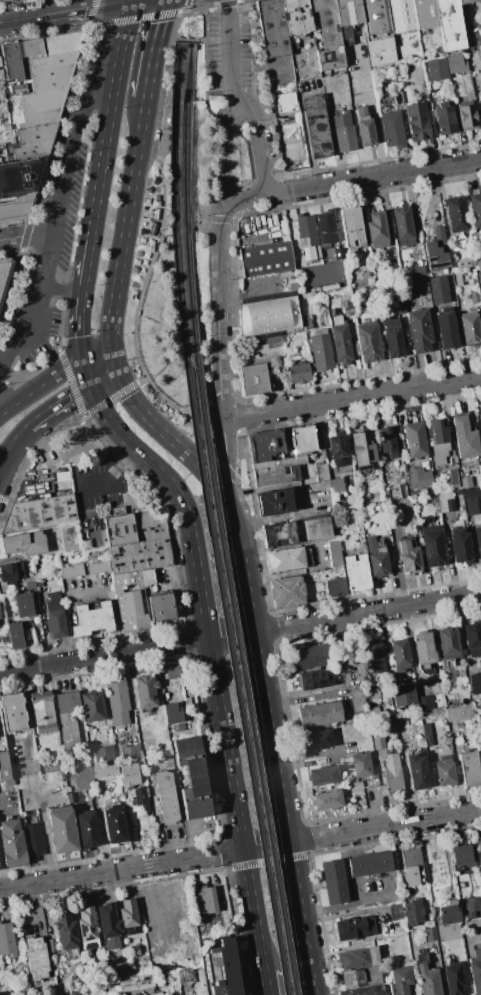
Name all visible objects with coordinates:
building: (1, 0)
traffic signals: (136, 0)
building: (480, 0)
road: (186, 4)
road: (95, 8)
building: (471, 8)
road: (68, 11)
building: (463, 12)
building: (425, 14)
building: (401, 15)
building: (297, 16)
road: (142, 17)
building: (346, 18)
building: (450, 25)
road: (96, 26)
road: (206, 26)
building: (273, 28)
building: (377, 31)
building: (327, 35)
road: (185, 39)
road: (153, 47)
building: (37, 51)
road: (261, 59)
building: (456, 64)
building: (436, 69)
parking lot: (236, 72)
road: (167, 84)
building: (41, 87)
building: (396, 98)
road: (237, 100)
building: (480, 105)
road: (372, 110)
building: (467, 113)
road: (107, 118)
building: (445, 119)
road: (62, 121)
building: (417, 122)
building: (316, 126)
building: (365, 126)
building: (392, 129)
road: (304, 130)
building: (344, 132)
building: (33, 142)
road: (72, 148)
railway: (173, 162)
railway: (185, 162)
road: (253, 174)
road: (373, 177)
road: (264, 181)
building: (19, 185)
road: (246, 200)
building: (475, 209)
building: (457, 214)
building: (351, 226)
building: (403, 226)
building: (325, 228)
road: (123, 230)
building: (306, 230)
building: (377, 230)
road: (28, 235)
road: (26, 236)
building: (437, 251)
building: (336, 252)
building: (266, 259)
building: (478, 264)
road: (84, 265)
building: (385, 270)
building: (418, 271)
building: (361, 272)
building: (4, 274)
building: (450, 278)
building: (369, 281)
building: (416, 285)
road: (12, 288)
road: (60, 289)
building: (439, 290)
building: (474, 296)
railway: (179, 300)
railway: (190, 300)
road: (36, 303)
building: (346, 303)
building: (400, 307)
road: (218, 312)
building: (267, 316)
road: (77, 325)
building: (470, 329)
building: (418, 330)
building: (447, 331)
building: (393, 338)
building: (340, 342)
building: (368, 342)
building: (320, 350)
road: (50, 353)
traffic signals: (81, 361)
road: (97, 361)
traffic signals: (114, 362)
building: (299, 373)
traffic signals: (87, 380)
building: (256, 380)
road: (70, 381)
road: (40, 384)
road: (2, 385)
road: (67, 392)
road: (112, 396)
road: (351, 397)
road: (1, 406)
road: (1, 413)
building: (479, 420)
building: (465, 437)
road: (10, 440)
building: (415, 440)
building: (438, 440)
building: (302, 441)
building: (387, 442)
road: (208, 443)
building: (263, 445)
building: (338, 449)
road: (224, 450)
building: (363, 451)
road: (29, 459)
building: (275, 470)
building: (321, 472)
road: (109, 475)
building: (419, 477)
building: (453, 478)
road: (211, 481)
building: (465, 482)
parking lot: (98, 484)
road: (171, 485)
building: (336, 486)
building: (402, 491)
road: (3, 501)
building: (274, 502)
building: (445, 502)
building: (473, 504)
building: (39, 513)
road: (279, 515)
building: (133, 526)
building: (317, 528)
building: (278, 533)
building: (70, 538)
building: (478, 540)
building: (25, 543)
building: (460, 545)
building: (432, 546)
building: (334, 554)
building: (139, 555)
building: (376, 557)
building: (408, 557)
building: (285, 560)
building: (97, 566)
building: (11, 571)
building: (70, 571)
building: (357, 573)
building: (147, 577)
building: (26, 584)
building: (335, 586)
building: (287, 591)
road: (111, 596)
building: (130, 601)
building: (24, 604)
building: (161, 608)
road: (366, 612)
building: (55, 616)
building: (0, 617)
building: (92, 619)
road: (229, 634)
building: (12, 635)
building: (473, 639)
building: (447, 643)
building: (424, 648)
road: (103, 654)
building: (399, 654)
building: (310, 656)
building: (372, 658)
building: (171, 672)
building: (317, 678)
railway: (233, 679)
railway: (242, 679)
building: (475, 682)
building: (145, 691)
building: (403, 696)
building: (117, 701)
building: (425, 703)
building: (480, 704)
building: (42, 711)
building: (92, 711)
building: (14, 712)
building: (458, 712)
building: (172, 714)
building: (319, 714)
building: (69, 722)
building: (426, 733)
building: (109, 739)
building: (315, 740)
building: (378, 743)
building: (150, 744)
building: (131, 753)
building: (102, 755)
building: (360, 764)
building: (4, 767)
building: (104, 769)
building: (469, 769)
building: (417, 771)
building: (444, 774)
building: (129, 775)
building: (322, 776)
building: (191, 777)
building: (392, 779)
building: (166, 797)
building: (140, 800)
building: (325, 800)
road: (234, 805)
road: (282, 812)
building: (130, 818)
building: (114, 825)
road: (383, 825)
building: (62, 829)
building: (86, 830)
building: (132, 833)
building: (33, 839)
building: (12, 843)
road: (264, 845)
building: (462, 856)
building: (479, 856)
building: (369, 864)
building: (412, 867)
road: (120, 868)
road: (3, 870)
building: (458, 880)
building: (333, 882)
parking lot: (372, 893)
building: (461, 896)
building: (204, 899)
road: (26, 903)
road: (346, 906)
building: (395, 912)
building: (128, 913)
building: (413, 913)
building: (449, 913)
building: (467, 913)
building: (477, 917)
building: (108, 926)
building: (87, 928)
building: (353, 928)
building: (66, 930)
building: (448, 933)
building: (430, 935)
building: (6, 941)
building: (399, 948)
building: (36, 958)
building: (357, 958)
building: (222, 968)
building: (120, 970)
building: (476, 972)
building: (184, 976)
building: (427, 977)
building: (352, 978)
building: (453, 978)
building: (399, 981)
building: (135, 983)
road: (264, 984)
building: (364, 991)
building: (158, 993)

